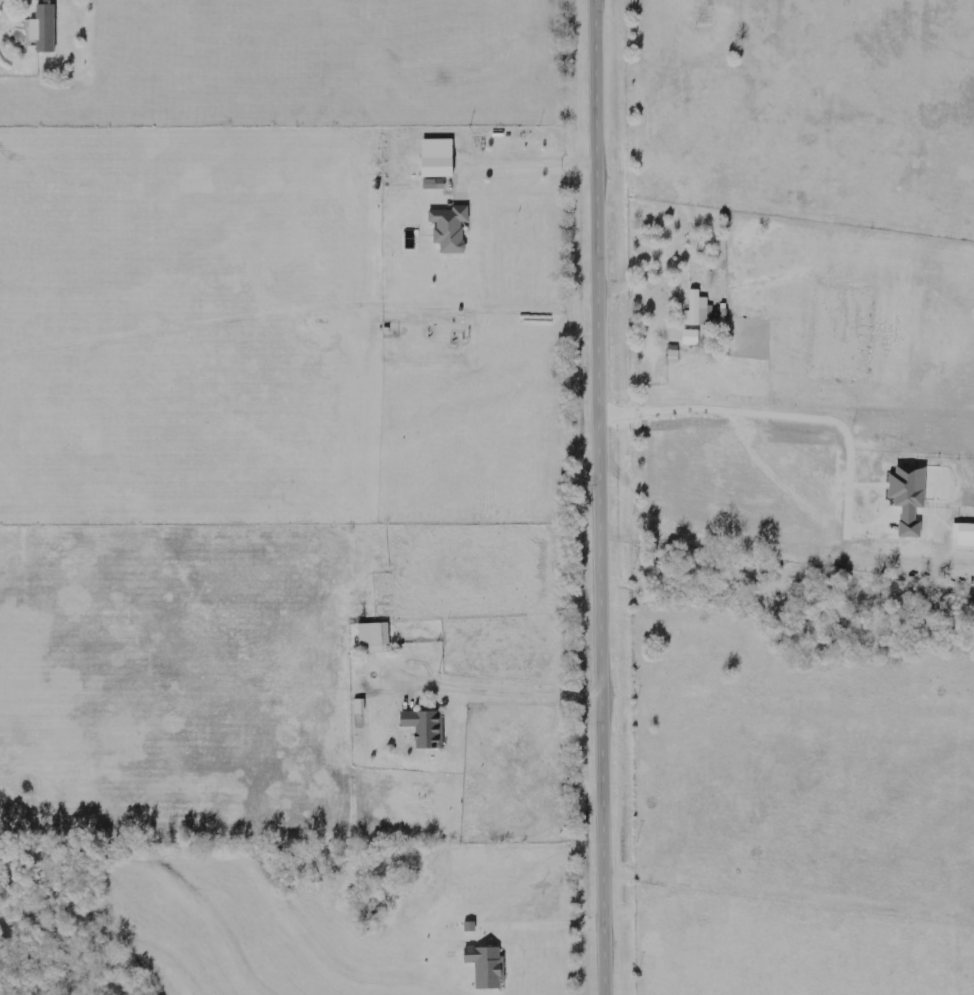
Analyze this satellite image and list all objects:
building: (704, 12)
building: (44, 29)
building: (437, 166)
building: (450, 228)
building: (699, 309)
building: (673, 353)
road: (599, 497)
building: (374, 637)
road: (518, 693)
building: (360, 706)
building: (425, 727)
building: (487, 966)

